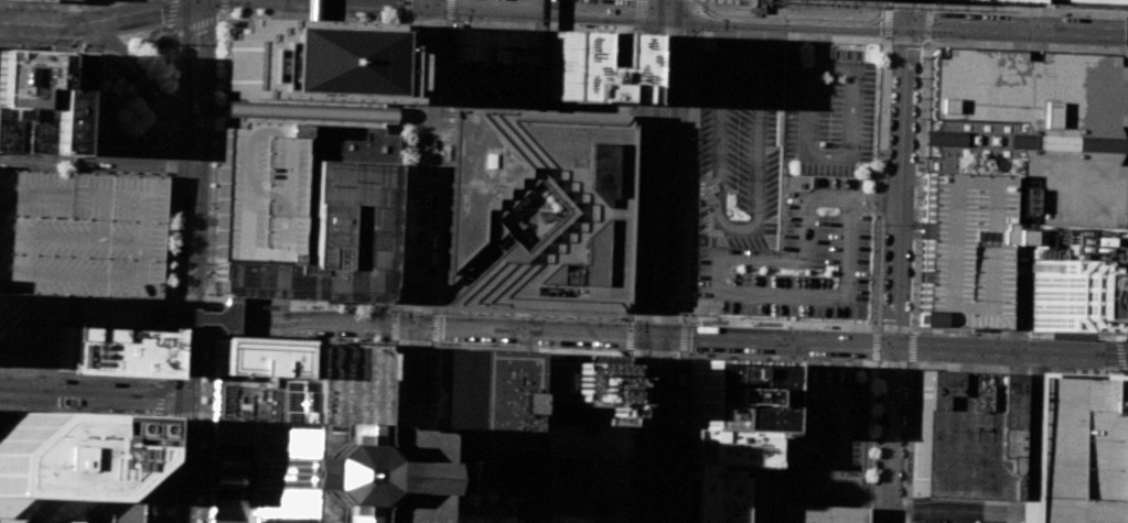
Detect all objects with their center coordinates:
street lamp: (130, 0)
road: (310, 0)
building: (1006, 0)
road: (18, 1)
road: (97, 1)
road: (844, 1)
street lamp: (922, 1)
road: (355, 2)
road: (430, 2)
road: (887, 3)
road: (54, 4)
road: (58, 4)
road: (222, 4)
traffic signals: (430, 4)
street lamp: (831, 4)
building: (1086, 4)
road: (928, 6)
road: (974, 6)
road: (668, 7)
road: (904, 7)
street lamp: (3, 8)
road: (450, 8)
road: (1024, 8)
street lamp: (40, 9)
road: (280, 9)
road: (548, 9)
road: (139, 10)
road: (311, 10)
road: (406, 10)
street lamp: (80, 11)
road: (171, 11)
road: (1039, 11)
street lamp: (226, 12)
traffic signals: (668, 13)
road: (1031, 13)
road: (219, 14)
street lamp: (1057, 14)
street lamp: (345, 15)
road: (223, 17)
road: (244, 17)
road: (240, 19)
street lamp: (398, 19)
road: (425, 20)
road: (450, 20)
street lamp: (452, 20)
road: (526, 20)
street lamp: (217, 21)
road: (887, 21)
road: (447, 22)
road: (898, 22)
traffic signals: (906, 23)
road: (195, 24)
road: (926, 24)
road: (46, 25)
street lamp: (578, 25)
road: (168, 26)
street lamp: (407, 26)
road: (542, 26)
road: (641, 28)
road: (238, 29)
road: (696, 29)
street lamp: (706, 29)
road: (697, 32)
road: (175, 33)
road: (390, 36)
road: (397, 36)
street lamp: (643, 37)
street lamp: (880, 37)
street lamp: (692, 39)
road: (904, 40)
street lamp: (932, 40)
fountain: (163, 41)
street lamp: (84, 42)
road: (816, 43)
road: (826, 43)
road: (835, 43)
street lamp: (889, 43)
street lamp: (39, 44)
street lamp: (179, 44)
building: (493, 44)
road: (43, 45)
road: (1023, 45)
road: (85, 47)
street lamp: (943, 47)
road: (860, 48)
road: (157, 51)
street lamp: (1021, 51)
road: (538, 52)
road: (636, 52)
street lamp: (1038, 52)
road: (1061, 52)
street lamp: (642, 54)
road: (539, 55)
street lamp: (1115, 55)
street lamp: (106, 56)
street lamp: (920, 56)
street lamp: (691, 57)
street lamp: (466, 61)
street lamp: (493, 62)
street lamp: (519, 63)
road: (218, 64)
building: (587, 66)
road: (832, 67)
street lamp: (119, 72)
road: (144, 73)
street lamp: (642, 76)
street lamp: (830, 76)
street lamp: (214, 77)
street lamp: (918, 77)
road: (694, 78)
building: (22, 79)
road: (122, 79)
road: (477, 79)
parking lot: (492, 79)
street lamp: (690, 79)
road: (196, 80)
street lamp: (105, 84)
building: (314, 85)
street lamp: (133, 87)
street lamp: (442, 94)
street lamp: (918, 97)
street lamp: (118, 100)
street lamp: (147, 101)
building: (55, 102)
street lamp: (689, 103)
road: (546, 106)
road: (219, 108)
road: (438, 112)
street lamp: (104, 115)
road: (397, 115)
parking lot: (828, 116)
street lamp: (161, 117)
street lamp: (917, 118)
road: (438, 123)
street lamp: (640, 124)
street lamp: (117, 129)
street lamp: (688, 129)
building: (21, 130)
street lamp: (146, 130)
building: (1032, 130)
street lamp: (175, 133)
road: (219, 134)
road: (89, 135)
street lamp: (638, 135)
street lamp: (688, 137)
street lamp: (105, 140)
street lamp: (440, 141)
street lamp: (158, 143)
parking lot: (741, 143)
street lamp: (130, 145)
street lamp: (827, 145)
street lamp: (687, 151)
road: (95, 152)
road: (825, 154)
road: (398, 156)
street lamp: (915, 156)
road: (37, 157)
road: (396, 160)
street lamp: (440, 162)
street lamp: (401, 164)
road: (443, 165)
road: (398, 166)
road: (861, 168)
street lamp: (637, 171)
road: (685, 171)
road: (630, 173)
road: (664, 174)
road: (408, 175)
street lamp: (687, 176)
road: (880, 181)
road: (911, 181)
road: (179, 183)
road: (691, 183)
road: (917, 183)
street lamp: (439, 184)
road: (913, 186)
road: (178, 193)
building: (258, 193)
parking lot: (258, 193)
street lamp: (636, 193)
road: (691, 193)
street lamp: (400, 196)
street lamp: (914, 196)
road: (873, 198)
park: (535, 199)
street lamp: (211, 203)
street lamp: (685, 203)
road: (848, 205)
street lamp: (438, 206)
road: (873, 206)
street lamp: (1127, 206)
building: (593, 209)
street lamp: (825, 210)
road: (910, 211)
street lamp: (399, 216)
road: (561, 216)
road: (630, 217)
road: (204, 220)
street lamp: (881, 221)
street lamp: (635, 222)
road: (910, 224)
road: (753, 225)
road: (1124, 225)
street lamp: (1127, 227)
street lamp: (437, 228)
fountain: (511, 231)
building: (80, 232)
parking lot: (80, 232)
street lamp: (170, 233)
road: (909, 233)
road: (203, 235)
street lamp: (635, 236)
road: (190, 237)
street lamp: (398, 237)
road: (396, 238)
building: (327, 239)
building: (1074, 243)
road: (910, 244)
street lamp: (170, 248)
street lamp: (436, 249)
road: (203, 250)
building: (963, 250)
parking garage: (963, 250)
street lamp: (912, 253)
street lamp: (634, 258)
parking lot: (797, 258)
street lamp: (398, 259)
street lamp: (1126, 260)
railway: (184, 261)
railway: (200, 261)
road: (896, 261)
road: (418, 263)
street lamp: (169, 264)
road: (471, 269)
street lamp: (434, 272)
street lamp: (728, 277)
street lamp: (633, 280)
street lamp: (397, 281)
road: (164, 282)
street lamp: (832, 282)
street lamp: (911, 283)
street lamp: (168, 284)
street lamp: (1125, 285)
street lamp: (208, 293)
street lamp: (433, 293)
building: (1072, 296)
road: (186, 297)
road: (207, 297)
road: (166, 299)
road: (210, 302)
road: (301, 303)
street lamp: (434, 303)
street lamp: (631, 304)
street lamp: (300, 306)
road: (230, 307)
street lamp: (347, 308)
road: (417, 308)
road: (436, 308)
street lamp: (388, 309)
road: (396, 309)
road: (438, 310)
street lamp: (1124, 310)
traffic signals: (187, 312)
street lamp: (441, 312)
road: (531, 312)
street lamp: (631, 312)
street lamp: (909, 312)
street lamp: (453, 313)
street lamp: (475, 314)
street lamp: (681, 314)
street lamp: (497, 315)
street lamp: (518, 315)
road: (206, 316)
street lamp: (539, 316)
street lamp: (562, 317)
road: (208, 318)
road: (300, 318)
street lamp: (584, 318)
street lamp: (605, 318)
road: (684, 318)
street lamp: (623, 319)
building: (62, 323)
parking lot: (62, 323)
road: (780, 323)
traffic signals: (415, 325)
road: (436, 326)
street lamp: (791, 327)
road: (893, 327)
road: (874, 328)
road: (878, 329)
road: (912, 329)
road: (536, 330)
road: (207, 333)
street lamp: (916, 333)
road: (1016, 333)
road: (204, 335)
street lamp: (243, 335)
traffic signals: (658, 335)
street lamp: (966, 335)
road: (165, 336)
road: (185, 336)
street lamp: (273, 336)
road: (206, 337)
street lamp: (296, 337)
road: (976, 337)
road: (984, 337)
road: (1119, 338)
road: (1126, 338)
street lamp: (344, 339)
street lamp: (1102, 340)
road: (397, 341)
road: (434, 344)
road: (438, 344)
road: (893, 344)
road: (545, 345)
road: (872, 345)
street lamp: (394, 347)
street lamp: (557, 347)
building: (106, 350)
road: (681, 351)
road: (185, 352)
street lamp: (690, 352)
street lamp: (629, 356)
road: (910, 356)
street lamp: (680, 358)
road: (778, 358)
building: (253, 359)
street lamp: (863, 359)
street lamp: (164, 360)
street lamp: (203, 360)
road: (1121, 360)
road: (871, 362)
road: (884, 362)
street lamp: (921, 362)
road: (911, 363)
road: (1028, 364)
street lamp: (394, 367)
street lamp: (1061, 367)
road: (839, 369)
road: (1019, 370)
street lamp: (1114, 370)
road: (36, 371)
street lamp: (907, 374)
street lamp: (30, 375)
road: (62, 378)
road: (47, 379)
street lamp: (93, 379)
road: (782, 379)
road: (162, 380)
street lamp: (157, 382)
road: (823, 390)
road: (92, 391)
street lamp: (1124, 391)
road: (160, 395)
traffic signals: (184, 395)
building: (729, 395)
road: (1014, 399)
building: (480, 402)
street lamp: (823, 403)
building: (573, 407)
road: (78, 411)
road: (158, 412)
road: (201, 414)
street lamp: (391, 414)
road: (12, 415)
road: (135, 415)
road: (182, 415)
road: (680, 416)
road: (132, 417)
street lamp: (204, 418)
street lamp: (1122, 420)
street lamp: (160, 421)
building: (143, 423)
road: (524, 426)
road: (123, 428)
road: (387, 428)
road: (654, 428)
road: (386, 431)
street lamp: (677, 432)
road: (619, 435)
building: (960, 435)
road: (683, 436)
building: (298, 440)
street lamp: (390, 442)
road: (867, 442)
road: (909, 443)
road: (427, 444)
street lamp: (872, 444)
road: (132, 447)
parking lot: (1065, 448)
street lamp: (1121, 448)
street lamp: (626, 449)
building: (1065, 449)
road: (1116, 449)
parking lot: (794, 456)
road: (181, 458)
road: (154, 465)
road: (466, 465)
road: (633, 467)
building: (64, 470)
parking lot: (476, 470)
building: (717, 470)
street lamp: (820, 472)
road: (132, 473)
road: (151, 475)
road: (436, 475)
road: (632, 476)
street lamp: (1119, 476)
road: (667, 479)
road: (619, 481)
road: (203, 484)
road: (810, 484)
street lamp: (425, 489)
building: (569, 491)
parking lot: (569, 491)
road: (866, 492)
street lamp: (1119, 492)
street lamp: (388, 493)
road: (901, 494)
street lamp: (902, 497)
road: (752, 503)
road: (677, 504)
street lamp: (197, 505)
park: (468, 505)
road: (1118, 509)
road: (447, 510)
parking lot: (963, 510)
road: (909, 511)
road: (964, 511)
building: (819, 513)
road: (1118, 519)
road: (907, 521)
street lamp: (674, 522)

